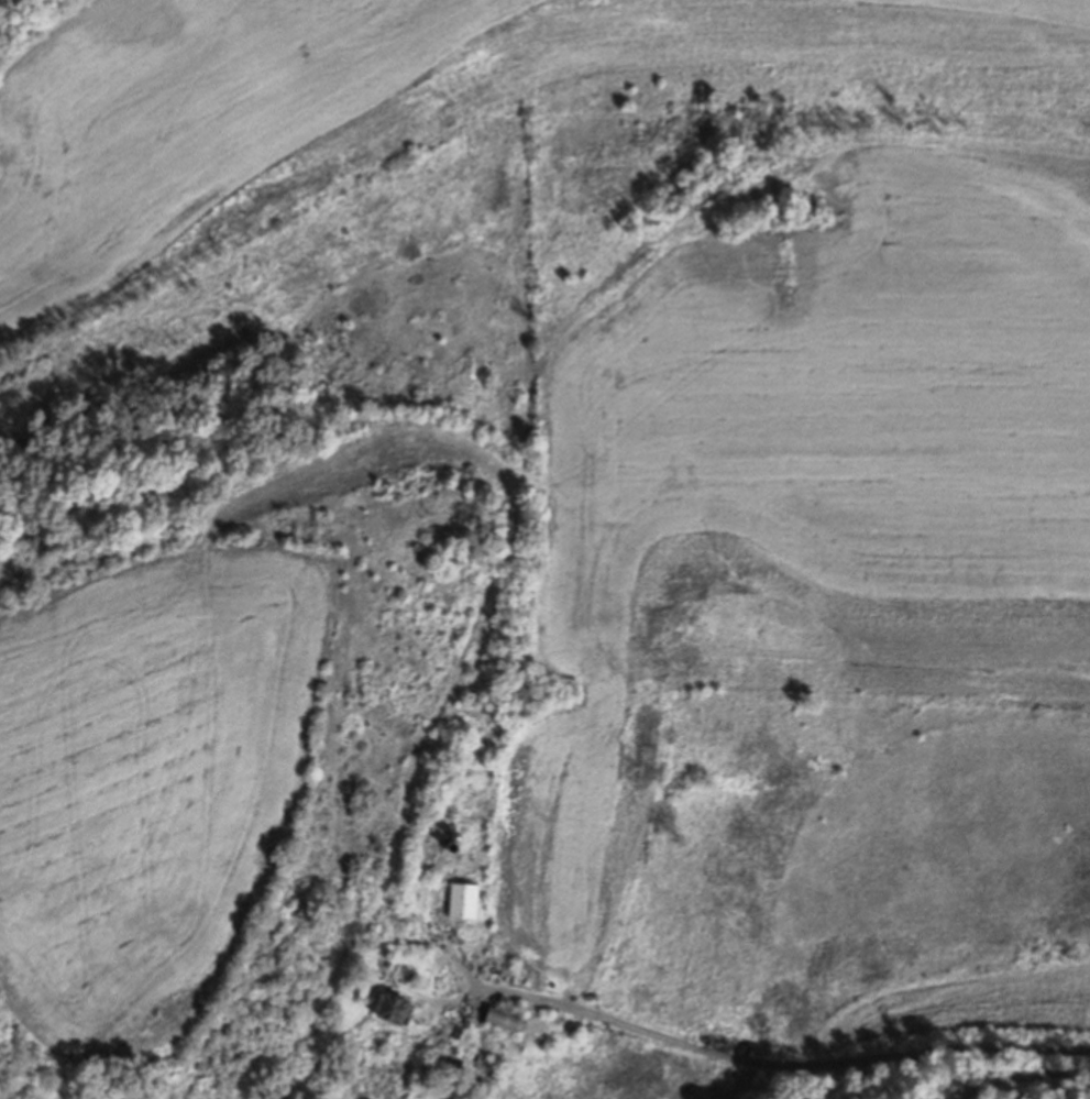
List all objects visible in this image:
building: (433, 845)
building: (396, 1009)
building: (505, 1020)
road: (755, 1059)
building: (430, 1075)

